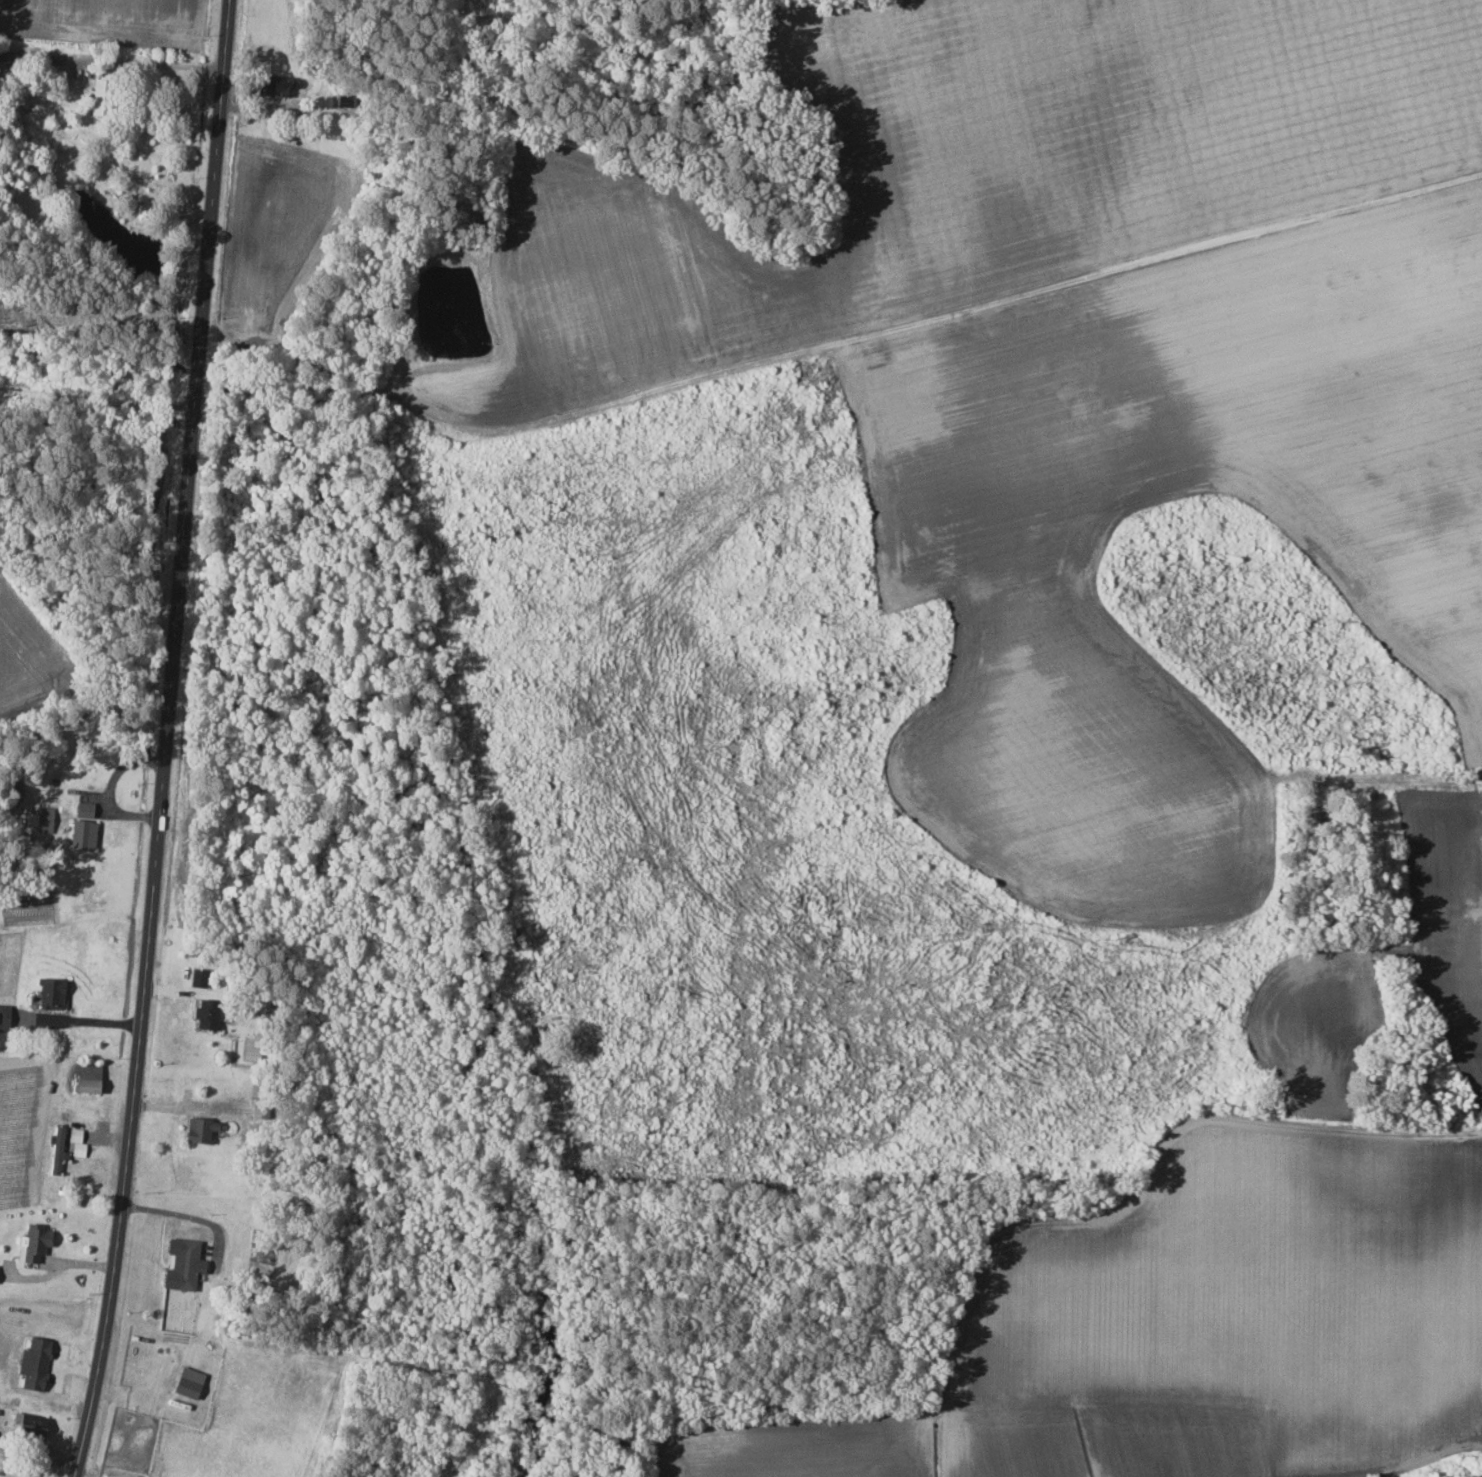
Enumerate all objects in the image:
road: (148, 62)
building: (271, 84)
road: (100, 401)
road: (169, 740)
building: (81, 808)
building: (39, 819)
building: (80, 834)
building: (48, 993)
building: (203, 1018)
road: (92, 1021)
building: (82, 1077)
building: (197, 1130)
building: (75, 1142)
building: (56, 1144)
road: (186, 1216)
building: (31, 1243)
building: (180, 1264)
building: (183, 1387)

